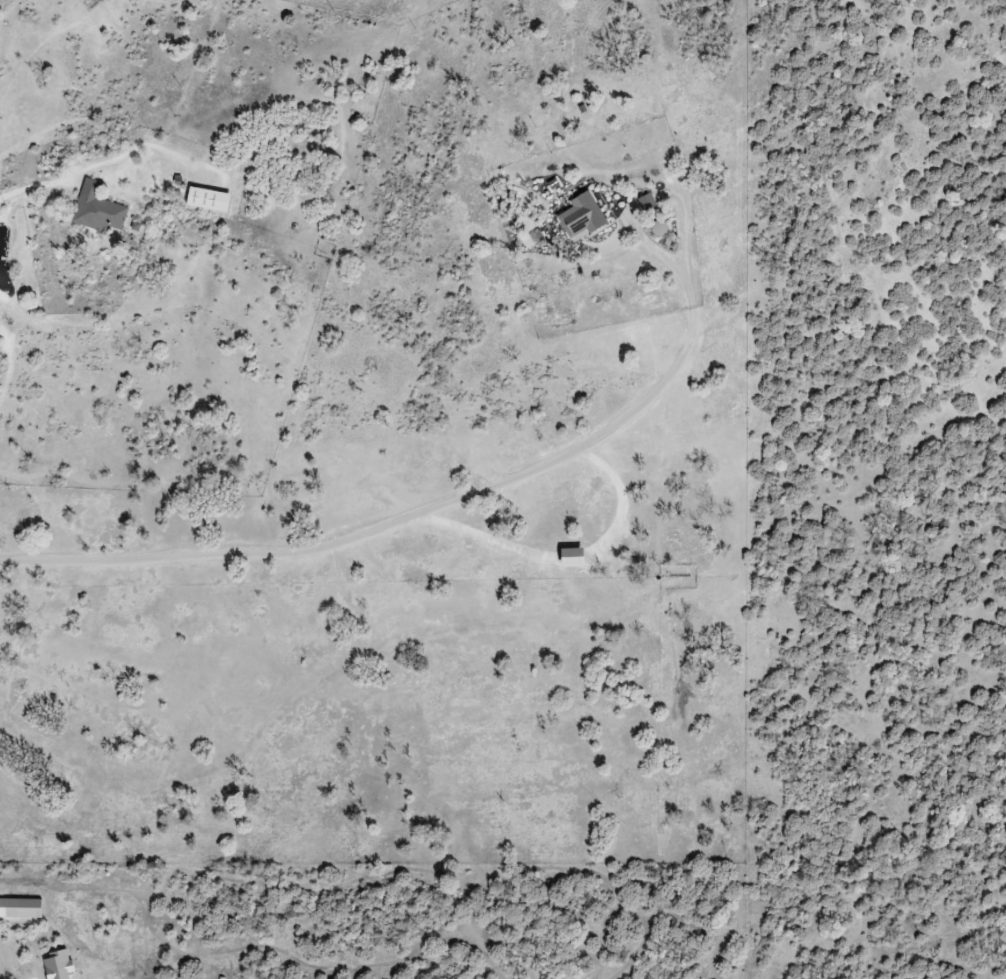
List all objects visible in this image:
road: (45, 184)
building: (202, 199)
building: (643, 202)
building: (92, 208)
building: (579, 215)
road: (618, 495)
road: (414, 512)
road: (489, 537)
building: (566, 557)
building: (19, 908)

